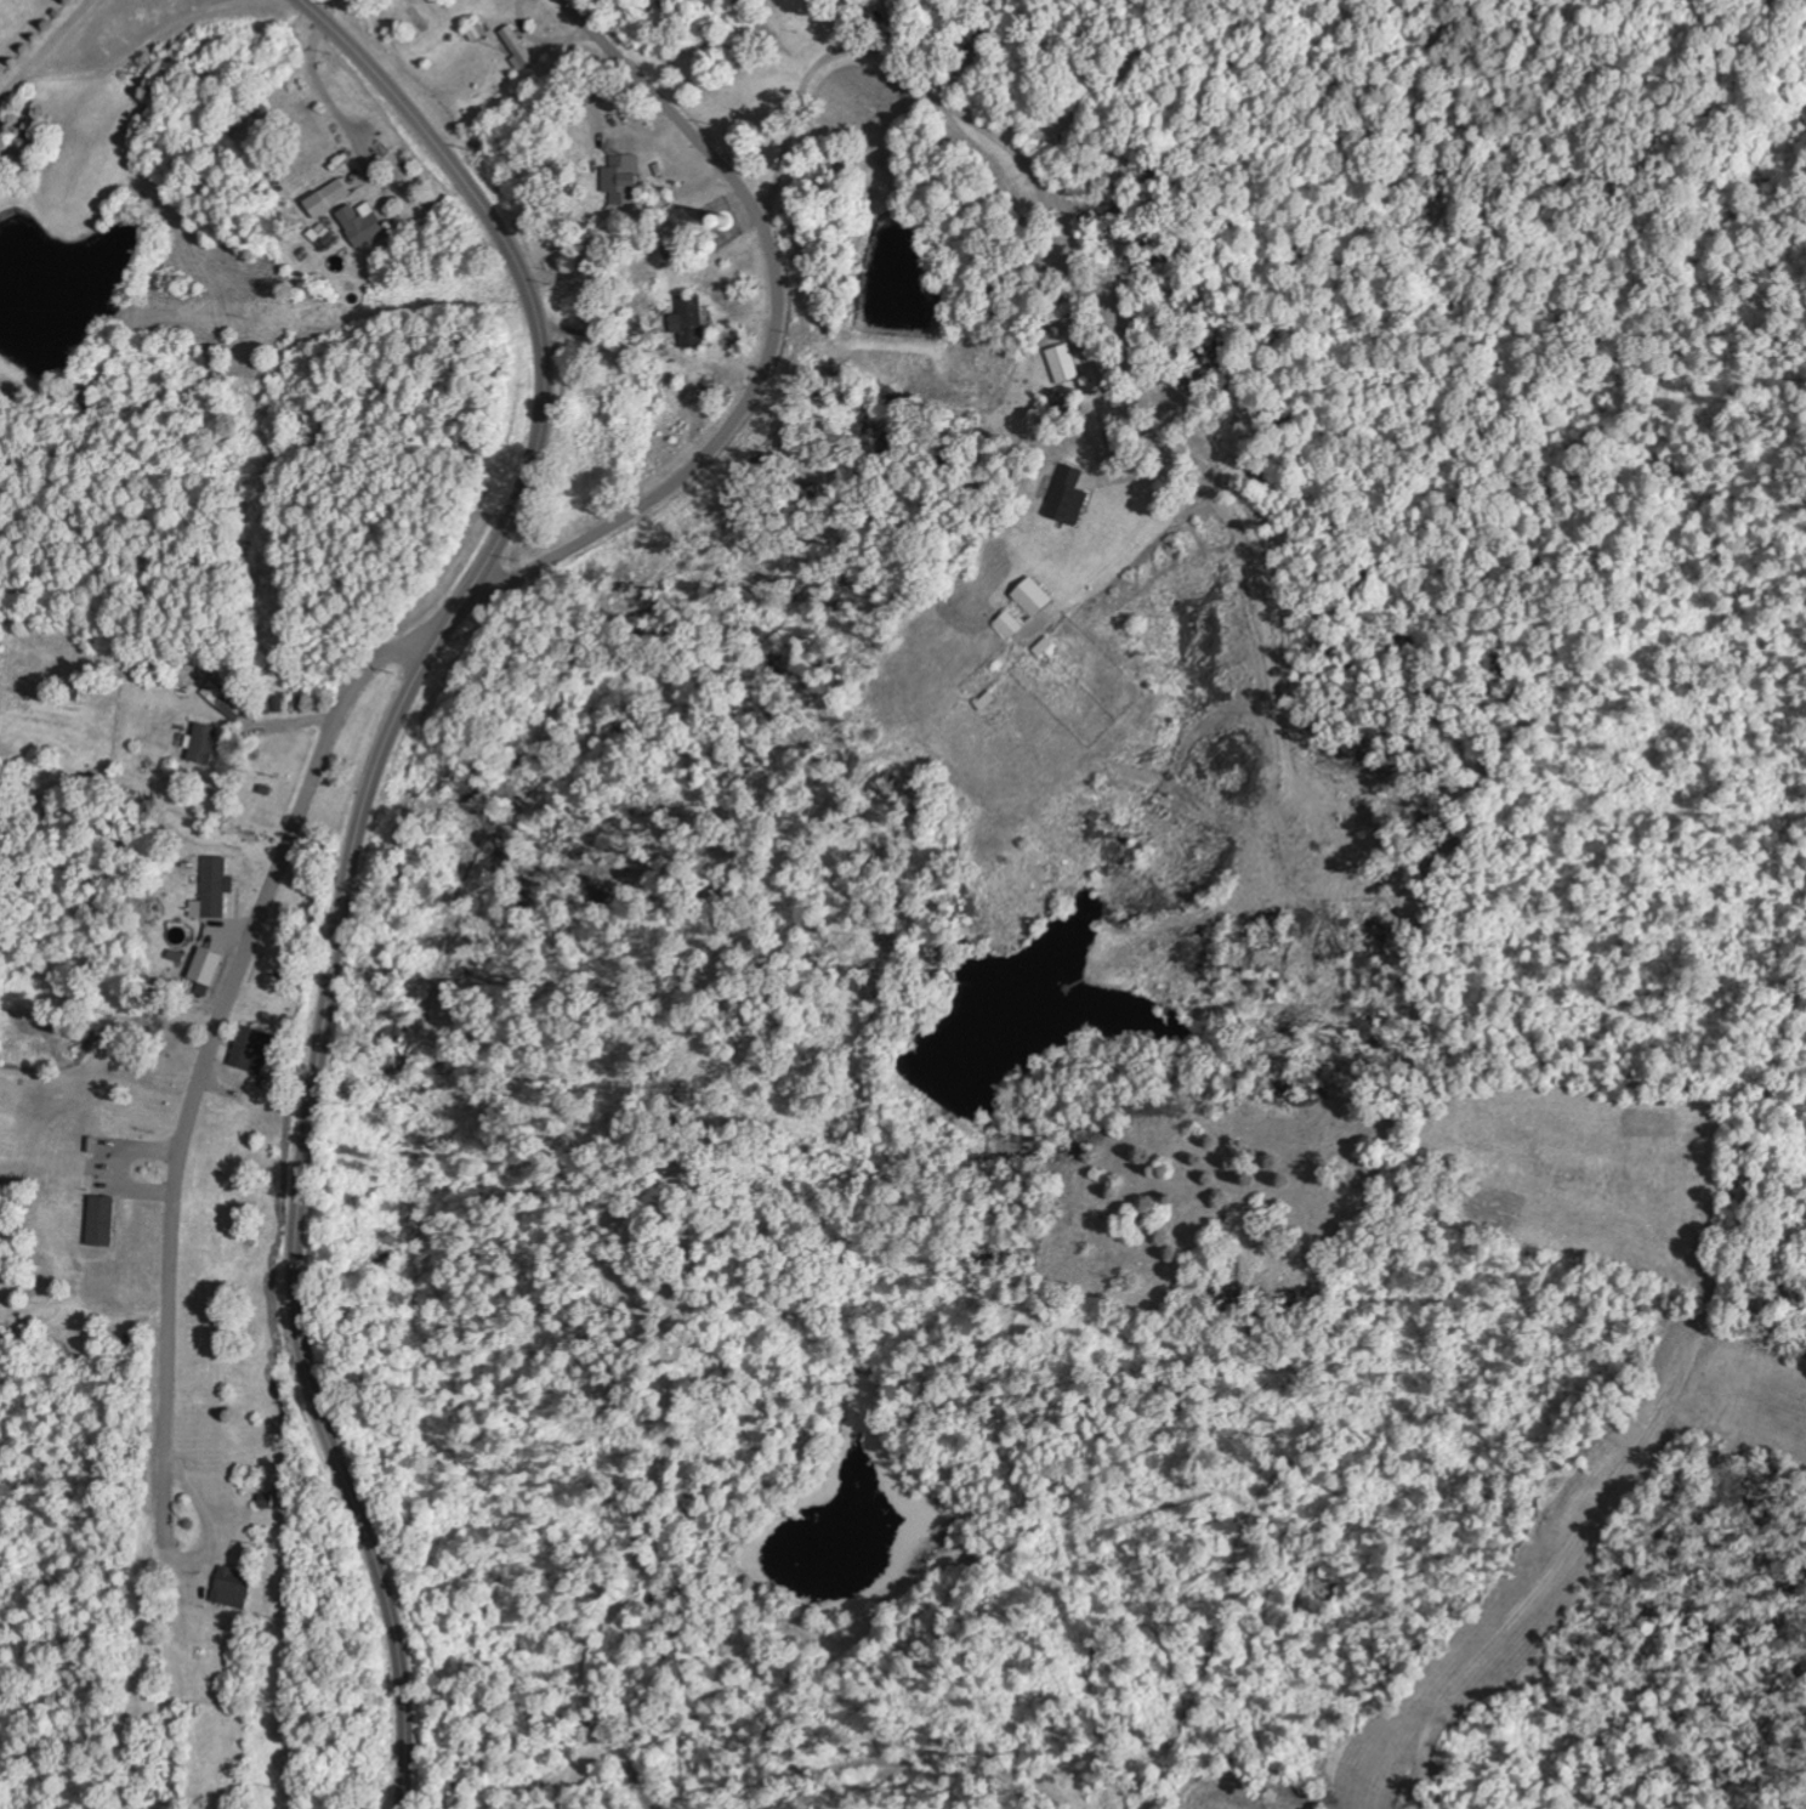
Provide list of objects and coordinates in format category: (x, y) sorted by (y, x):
building: (852, 2)
road: (465, 86)
building: (619, 176)
road: (533, 188)
building: (325, 198)
building: (360, 223)
building: (322, 236)
building: (688, 321)
road: (769, 344)
building: (1061, 363)
building: (1067, 495)
building: (1030, 596)
building: (1007, 624)
building: (222, 699)
building: (203, 742)
road: (353, 851)
building: (210, 889)
building: (204, 969)
road: (229, 1003)
building: (250, 1048)
building: (98, 1219)
road: (171, 1533)
building: (232, 1587)

